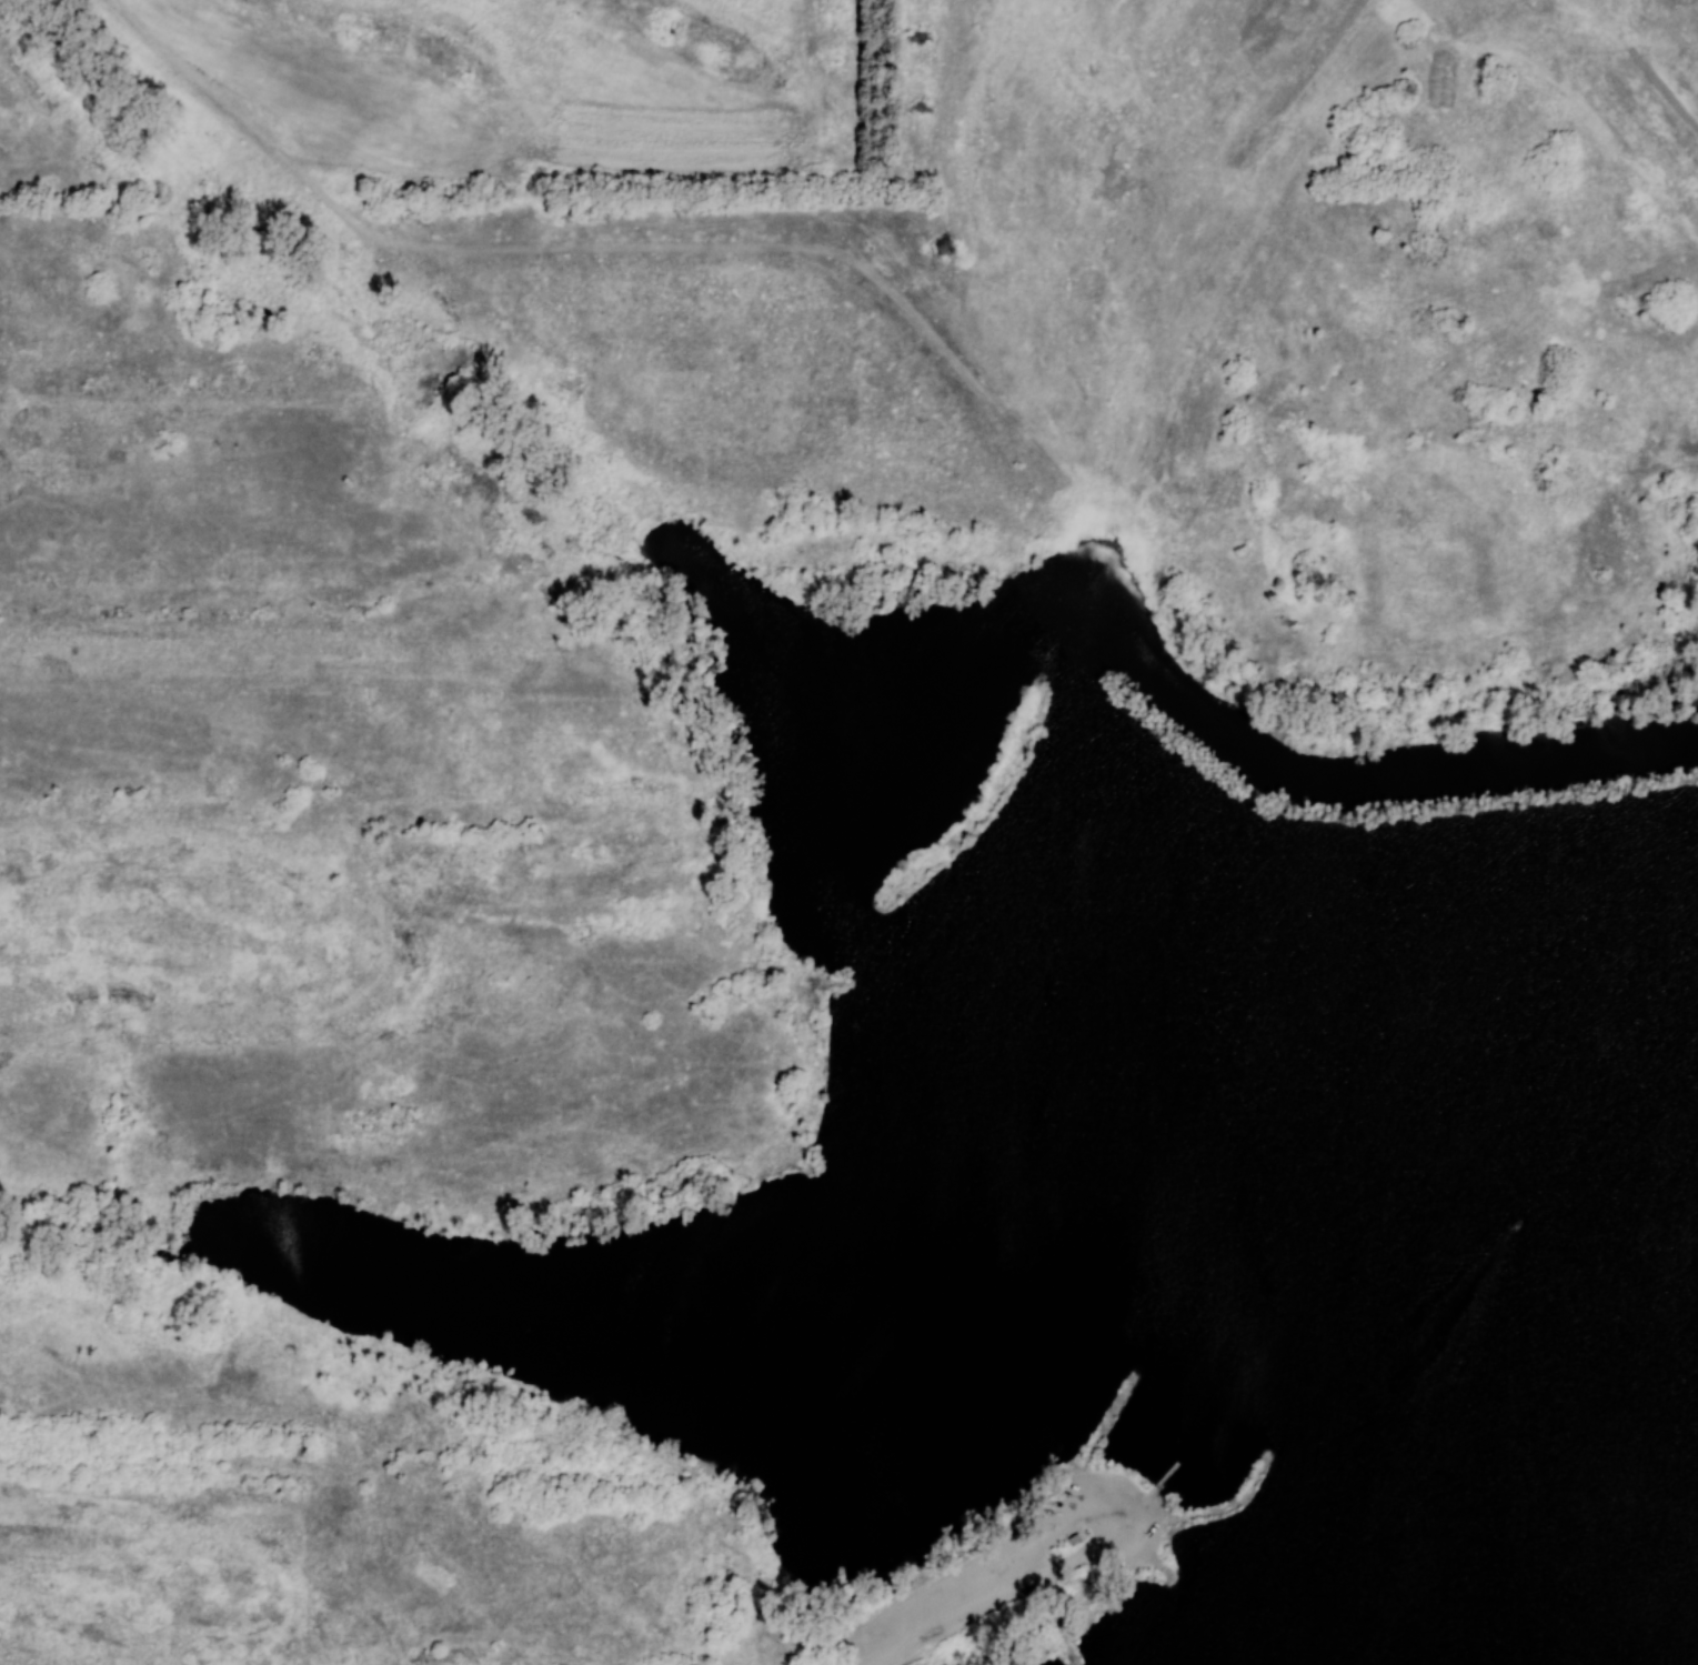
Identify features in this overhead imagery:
road: (1654, 81)
dam: (1671, 88)
parking lot: (1014, 1564)

